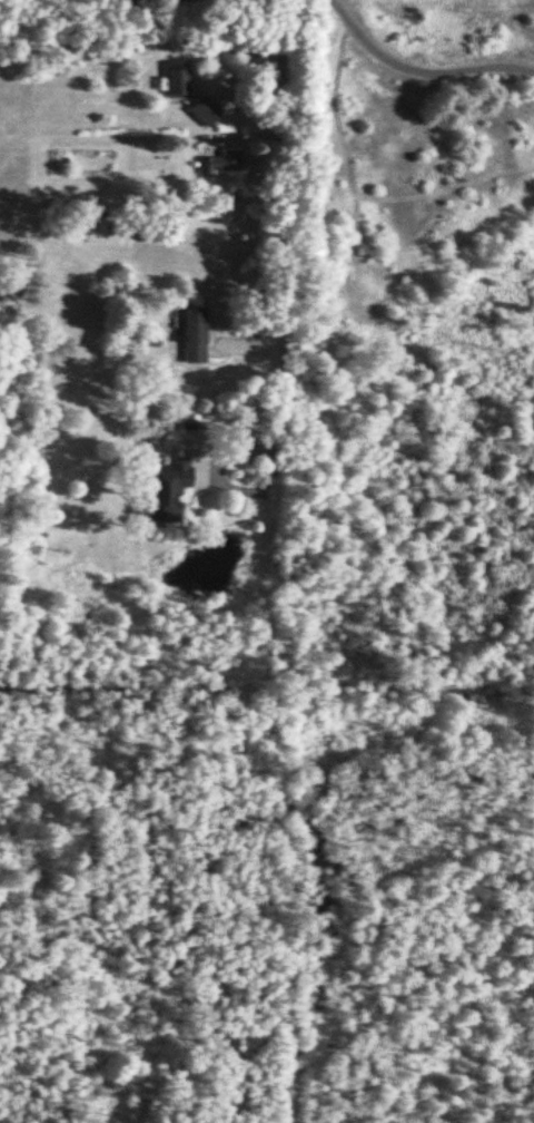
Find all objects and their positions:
road: (418, 70)
building: (172, 77)
building: (200, 109)
building: (217, 160)
road: (277, 199)
building: (190, 334)
building: (161, 487)

